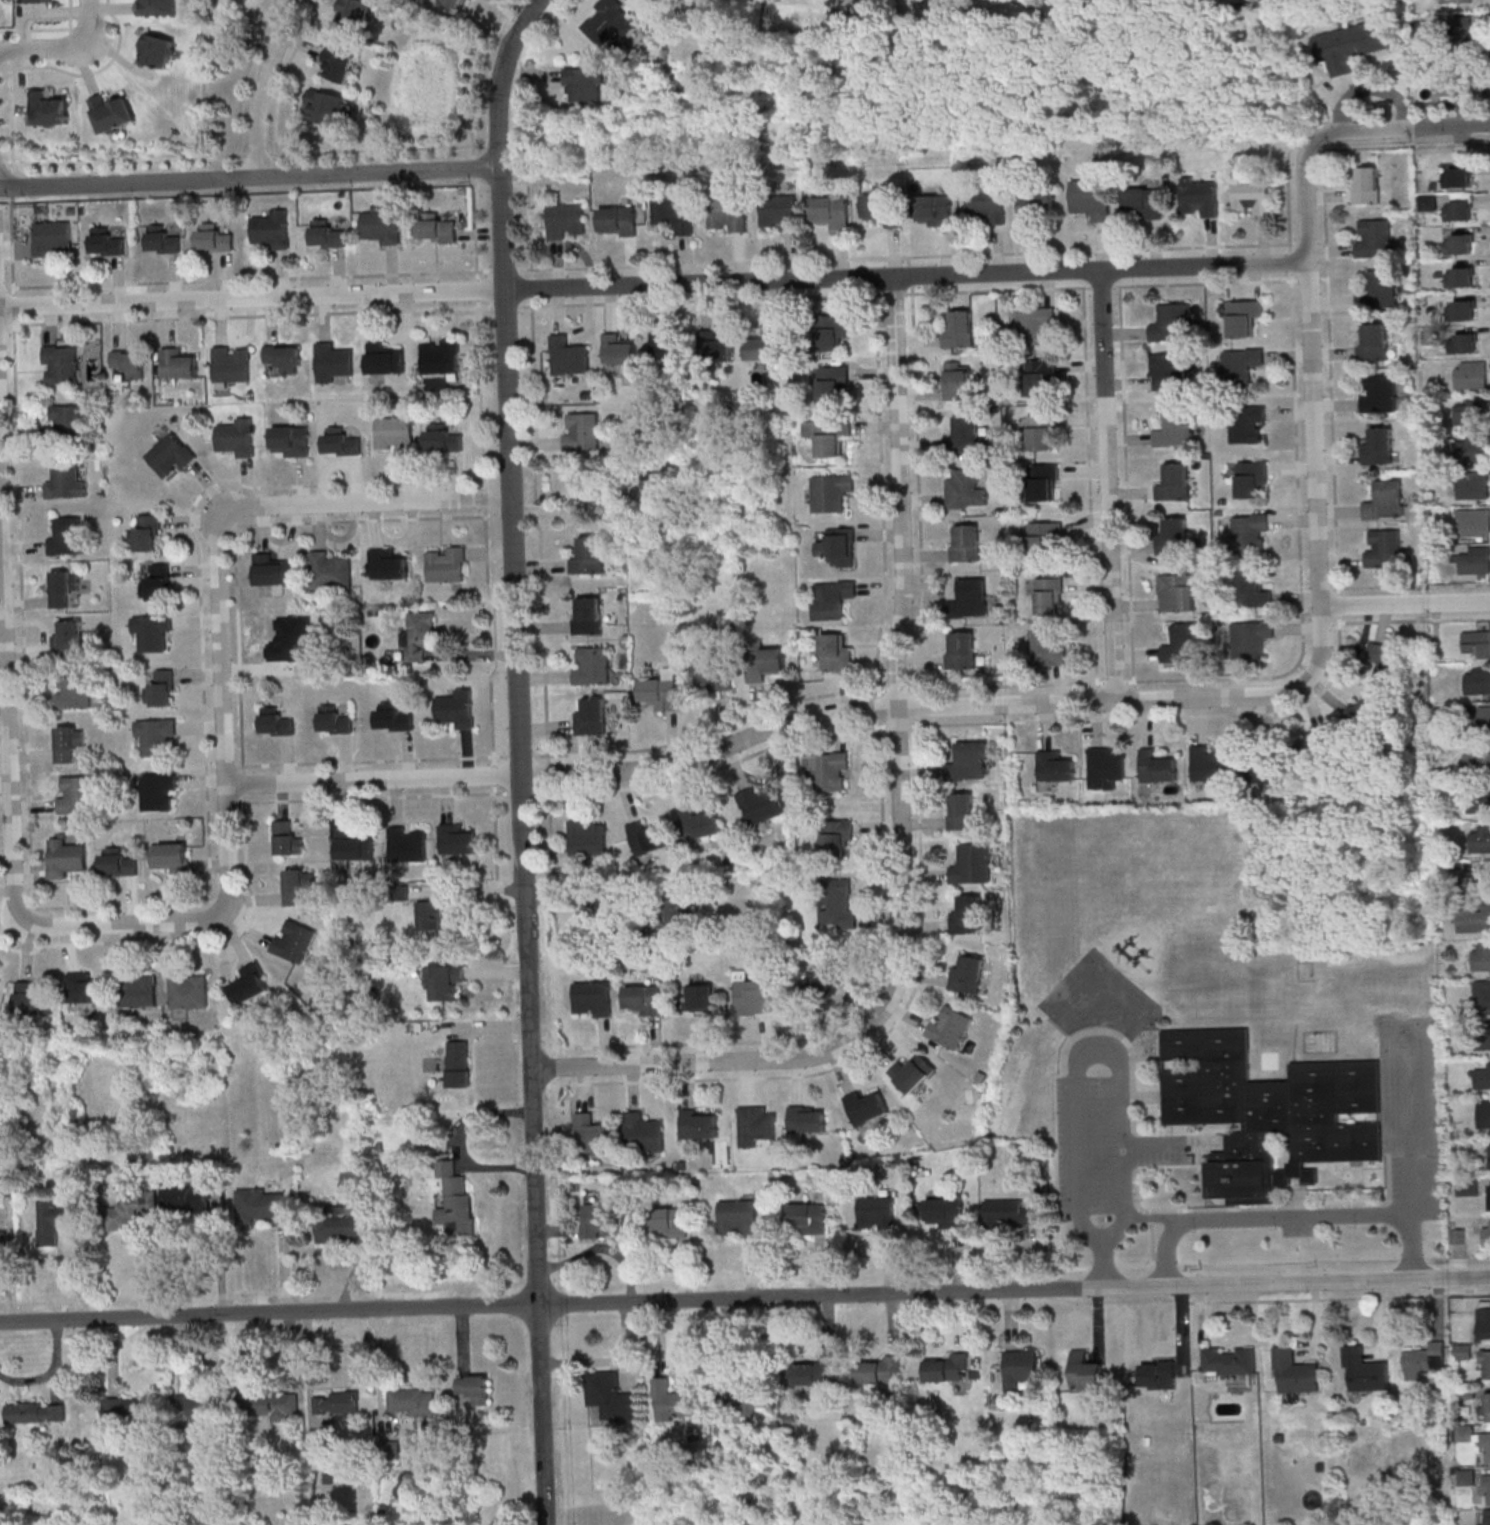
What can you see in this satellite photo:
building: (31, 1)
building: (1456, 1)
building: (458, 3)
building: (155, 7)
building: (357, 12)
road: (72, 16)
building: (610, 22)
building: (1455, 26)
road: (82, 27)
road: (38, 29)
road: (6, 34)
road: (74, 36)
building: (1349, 45)
road: (62, 47)
road: (6, 50)
building: (156, 50)
building: (341, 64)
road: (0, 68)
road: (89, 71)
road: (247, 74)
road: (284, 74)
road: (473, 75)
building: (585, 83)
building: (1454, 83)
road: (262, 86)
building: (326, 107)
building: (46, 108)
building: (110, 111)
road: (8, 112)
road: (1401, 130)
road: (1403, 144)
road: (1309, 146)
road: (236, 154)
road: (474, 166)
building: (1456, 176)
road: (250, 178)
building: (1366, 184)
road: (8, 191)
road: (1288, 194)
building: (1199, 196)
building: (1250, 196)
building: (1092, 198)
building: (1144, 202)
building: (1427, 202)
building: (988, 204)
building: (1037, 204)
building: (826, 208)
building: (883, 208)
building: (935, 210)
building: (1456, 210)
building: (675, 212)
building: (779, 212)
building: (728, 213)
building: (618, 219)
building: (566, 220)
building: (382, 223)
road: (475, 227)
building: (271, 228)
building: (437, 228)
road: (530, 229)
building: (327, 233)
building: (48, 237)
building: (213, 238)
building: (161, 239)
building: (104, 241)
building: (1374, 241)
building: (1457, 244)
road: (9, 245)
road: (902, 256)
road: (908, 259)
road: (1290, 262)
road: (503, 270)
road: (910, 273)
building: (1458, 276)
road: (250, 278)
road: (1201, 282)
road: (654, 284)
road: (531, 286)
road: (1101, 286)
road: (477, 289)
road: (997, 289)
building: (1378, 289)
road: (711, 298)
road: (11, 305)
road: (505, 306)
building: (1464, 309)
road: (251, 314)
building: (1243, 316)
building: (1172, 322)
building: (1037, 325)
building: (960, 329)
building: (831, 330)
building: (1373, 341)
building: (1465, 342)
building: (764, 344)
building: (665, 346)
building: (715, 346)
building: (620, 348)
building: (440, 355)
building: (569, 355)
building: (284, 356)
building: (384, 358)
building: (333, 361)
building: (130, 362)
building: (178, 363)
building: (60, 364)
building: (232, 364)
building: (1241, 364)
building: (1169, 371)
road: (1329, 371)
building: (1469, 373)
building: (1041, 376)
road: (1312, 376)
building: (958, 381)
building: (834, 384)
road: (480, 393)
building: (1380, 394)
building: (1469, 412)
building: (66, 420)
building: (1248, 424)
building: (1175, 427)
building: (583, 431)
building: (1042, 431)
building: (967, 433)
building: (395, 434)
building: (828, 435)
building: (236, 437)
building: (443, 438)
building: (291, 440)
building: (341, 441)
building: (1378, 446)
building: (1471, 448)
building: (170, 455)
building: (1251, 477)
building: (64, 481)
building: (1044, 482)
building: (1175, 482)
road: (1090, 484)
building: (1472, 484)
road: (1109, 485)
building: (965, 488)
building: (651, 489)
road: (919, 490)
building: (830, 491)
road: (882, 495)
road: (485, 496)
building: (1385, 500)
road: (1126, 501)
road: (566, 513)
road: (357, 519)
building: (1473, 521)
road: (539, 527)
building: (1250, 531)
building: (146, 533)
building: (69, 536)
building: (1173, 537)
building: (1045, 539)
building: (965, 543)
building: (839, 546)
building: (1383, 548)
road: (199, 552)
building: (589, 555)
building: (1475, 560)
building: (446, 563)
building: (388, 564)
road: (220, 567)
building: (330, 569)
building: (272, 570)
building: (157, 583)
road: (1413, 585)
building: (64, 588)
building: (1251, 589)
building: (1177, 592)
building: (1050, 595)
building: (969, 597)
building: (832, 598)
road: (1338, 605)
road: (1406, 606)
road: (21, 611)
building: (588, 615)
road: (1414, 619)
building: (152, 631)
building: (419, 635)
road: (494, 635)
building: (1250, 638)
building: (69, 639)
road: (899, 641)
building: (1183, 643)
building: (1476, 643)
road: (238, 647)
building: (1049, 648)
building: (961, 649)
building: (836, 651)
building: (762, 660)
building: (1384, 661)
building: (591, 664)
road: (1295, 664)
building: (714, 674)
building: (1477, 679)
road: (896, 688)
building: (73, 689)
building: (161, 689)
building: (662, 690)
road: (915, 706)
road: (878, 707)
building: (457, 708)
building: (1365, 710)
building: (591, 716)
road: (1158, 716)
building: (1482, 716)
building: (393, 717)
building: (334, 719)
road: (804, 722)
building: (278, 723)
road: (898, 725)
road: (713, 728)
building: (155, 734)
building: (1315, 741)
building: (68, 742)
road: (500, 755)
road: (521, 755)
road: (523, 758)
building: (1477, 758)
road: (363, 760)
building: (970, 760)
building: (1210, 763)
road: (209, 765)
road: (224, 765)
building: (1055, 765)
building: (1105, 766)
building: (1157, 766)
road: (714, 768)
building: (828, 769)
building: (1263, 770)
road: (548, 773)
road: (493, 774)
road: (243, 783)
building: (157, 789)
road: (522, 791)
building: (75, 794)
road: (372, 796)
building: (1479, 798)
road: (10, 800)
road: (232, 801)
building: (764, 804)
building: (960, 810)
road: (548, 815)
building: (699, 823)
road: (495, 830)
building: (837, 835)
building: (587, 837)
building: (649, 837)
building: (287, 838)
building: (457, 839)
building: (1480, 839)
building: (408, 843)
building: (354, 845)
building: (65, 857)
building: (170, 857)
building: (118, 862)
building: (972, 863)
building: (1476, 881)
road: (6, 886)
building: (295, 886)
road: (1013, 892)
road: (219, 901)
road: (590, 902)
road: (120, 904)
building: (838, 907)
building: (673, 910)
road: (210, 912)
building: (431, 915)
building: (968, 915)
building: (1474, 919)
road: (193, 940)
building: (294, 941)
building: (1481, 956)
building: (968, 974)
building: (0, 977)
building: (824, 980)
building: (445, 981)
building: (250, 984)
building: (84, 988)
building: (188, 989)
building: (138, 990)
building: (753, 994)
building: (1483, 994)
building: (700, 996)
building: (592, 998)
building: (645, 998)
building: (32, 999)
building: (950, 1027)
building: (1485, 1035)
road: (1124, 1040)
road: (720, 1061)
road: (1120, 1061)
building: (458, 1063)
building: (913, 1071)
building: (1483, 1077)
road: (571, 1083)
building: (866, 1106)
building: (1484, 1112)
building: (1270, 1113)
building: (808, 1118)
road: (1411, 1121)
building: (700, 1123)
building: (756, 1124)
building: (644, 1133)
building: (593, 1134)
road: (1134, 1149)
building: (453, 1199)
building: (187, 1200)
building: (262, 1206)
road: (1268, 1207)
building: (131, 1209)
building: (876, 1212)
building: (945, 1212)
building: (1010, 1212)
building: (738, 1216)
road: (1151, 1216)
building: (809, 1217)
road: (1295, 1217)
building: (54, 1219)
building: (602, 1220)
road: (1424, 1220)
building: (669, 1222)
building: (339, 1223)
building: (1486, 1233)
building: (3, 1242)
road: (1152, 1244)
road: (1458, 1258)
road: (1412, 1259)
road: (1222, 1263)
road: (1341, 1297)
road: (744, 1298)
building: (1484, 1320)
building: (1427, 1357)
building: (1230, 1361)
building: (1484, 1364)
building: (947, 1367)
building: (1020, 1367)
building: (880, 1370)
road: (49, 1371)
building: (1087, 1371)
building: (1365, 1371)
building: (818, 1374)
building: (1159, 1374)
building: (1295, 1374)
building: (474, 1388)
building: (611, 1397)
building: (746, 1397)
building: (412, 1400)
building: (674, 1400)
building: (336, 1402)
building: (272, 1405)
building: (1487, 1405)
building: (127, 1410)
building: (196, 1410)
building: (35, 1412)
building: (1466, 1432)
building: (1486, 1447)
building: (1466, 1477)
building: (1487, 1488)
building: (1487, 1516)

